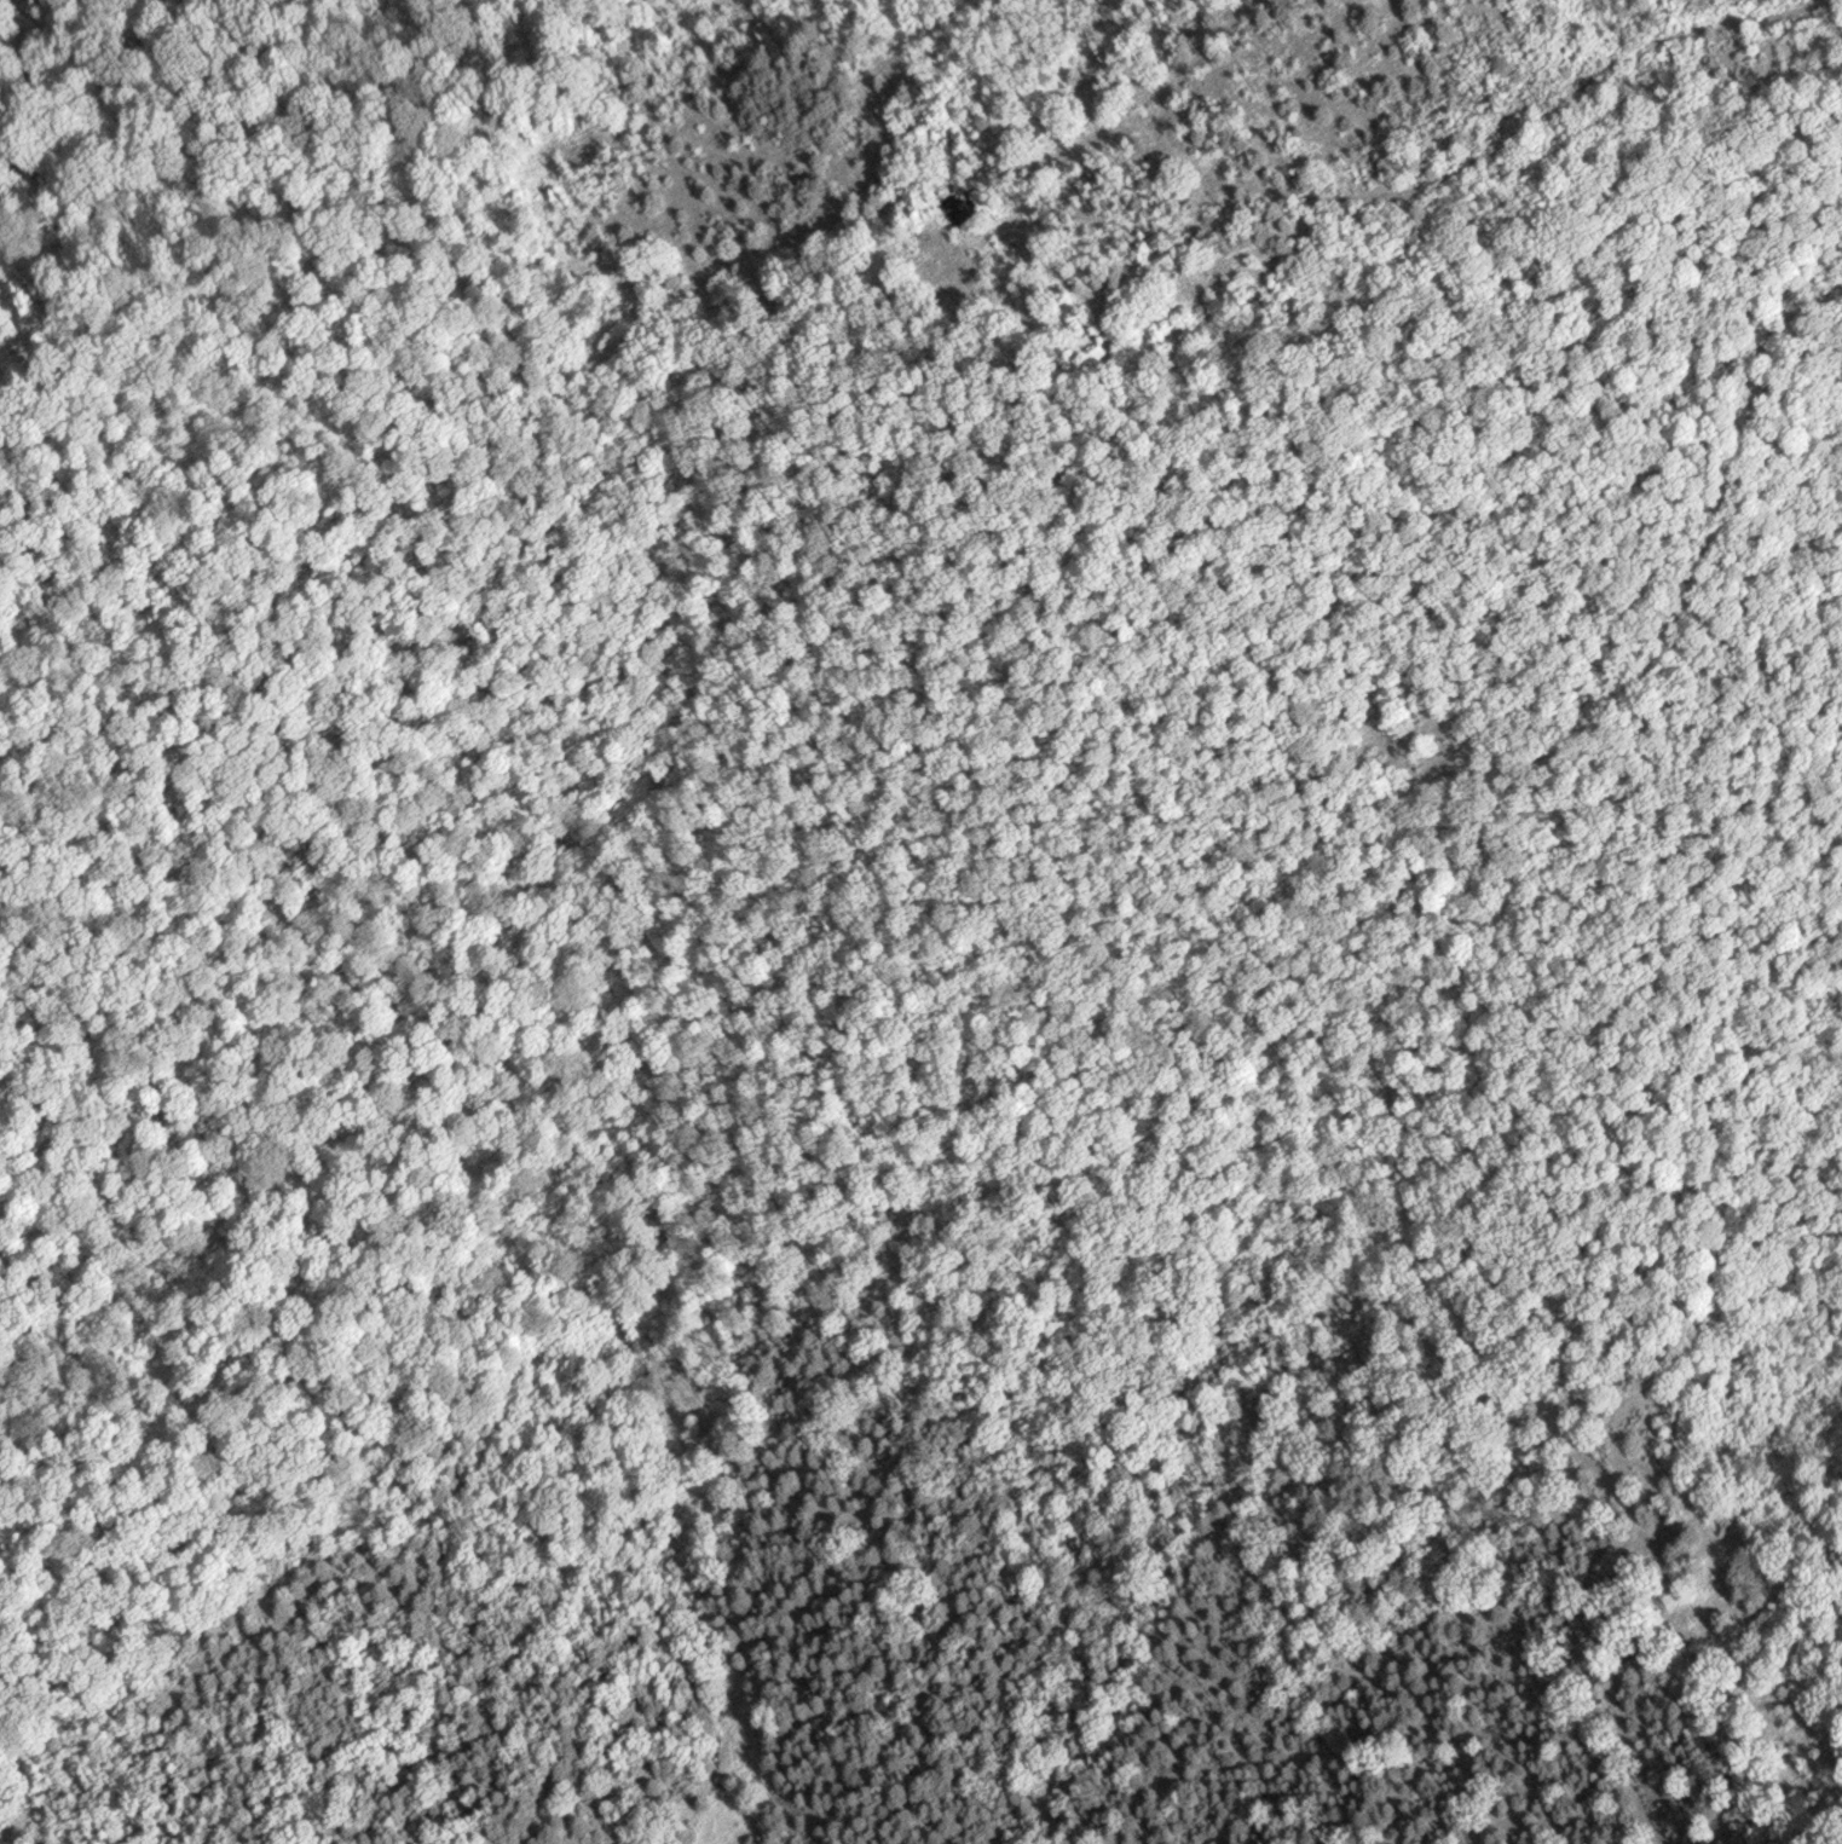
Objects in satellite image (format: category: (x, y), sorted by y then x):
road: (1161, 131)

